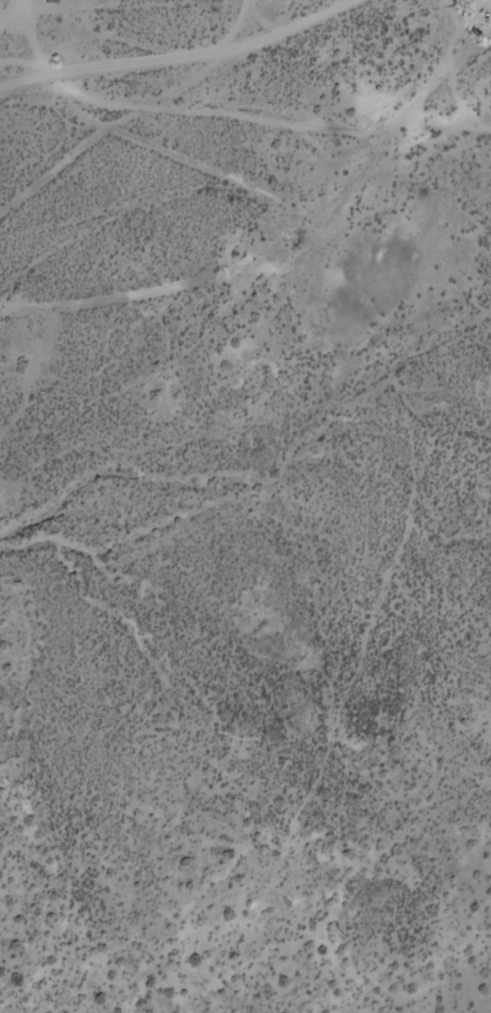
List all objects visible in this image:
road: (244, 87)

